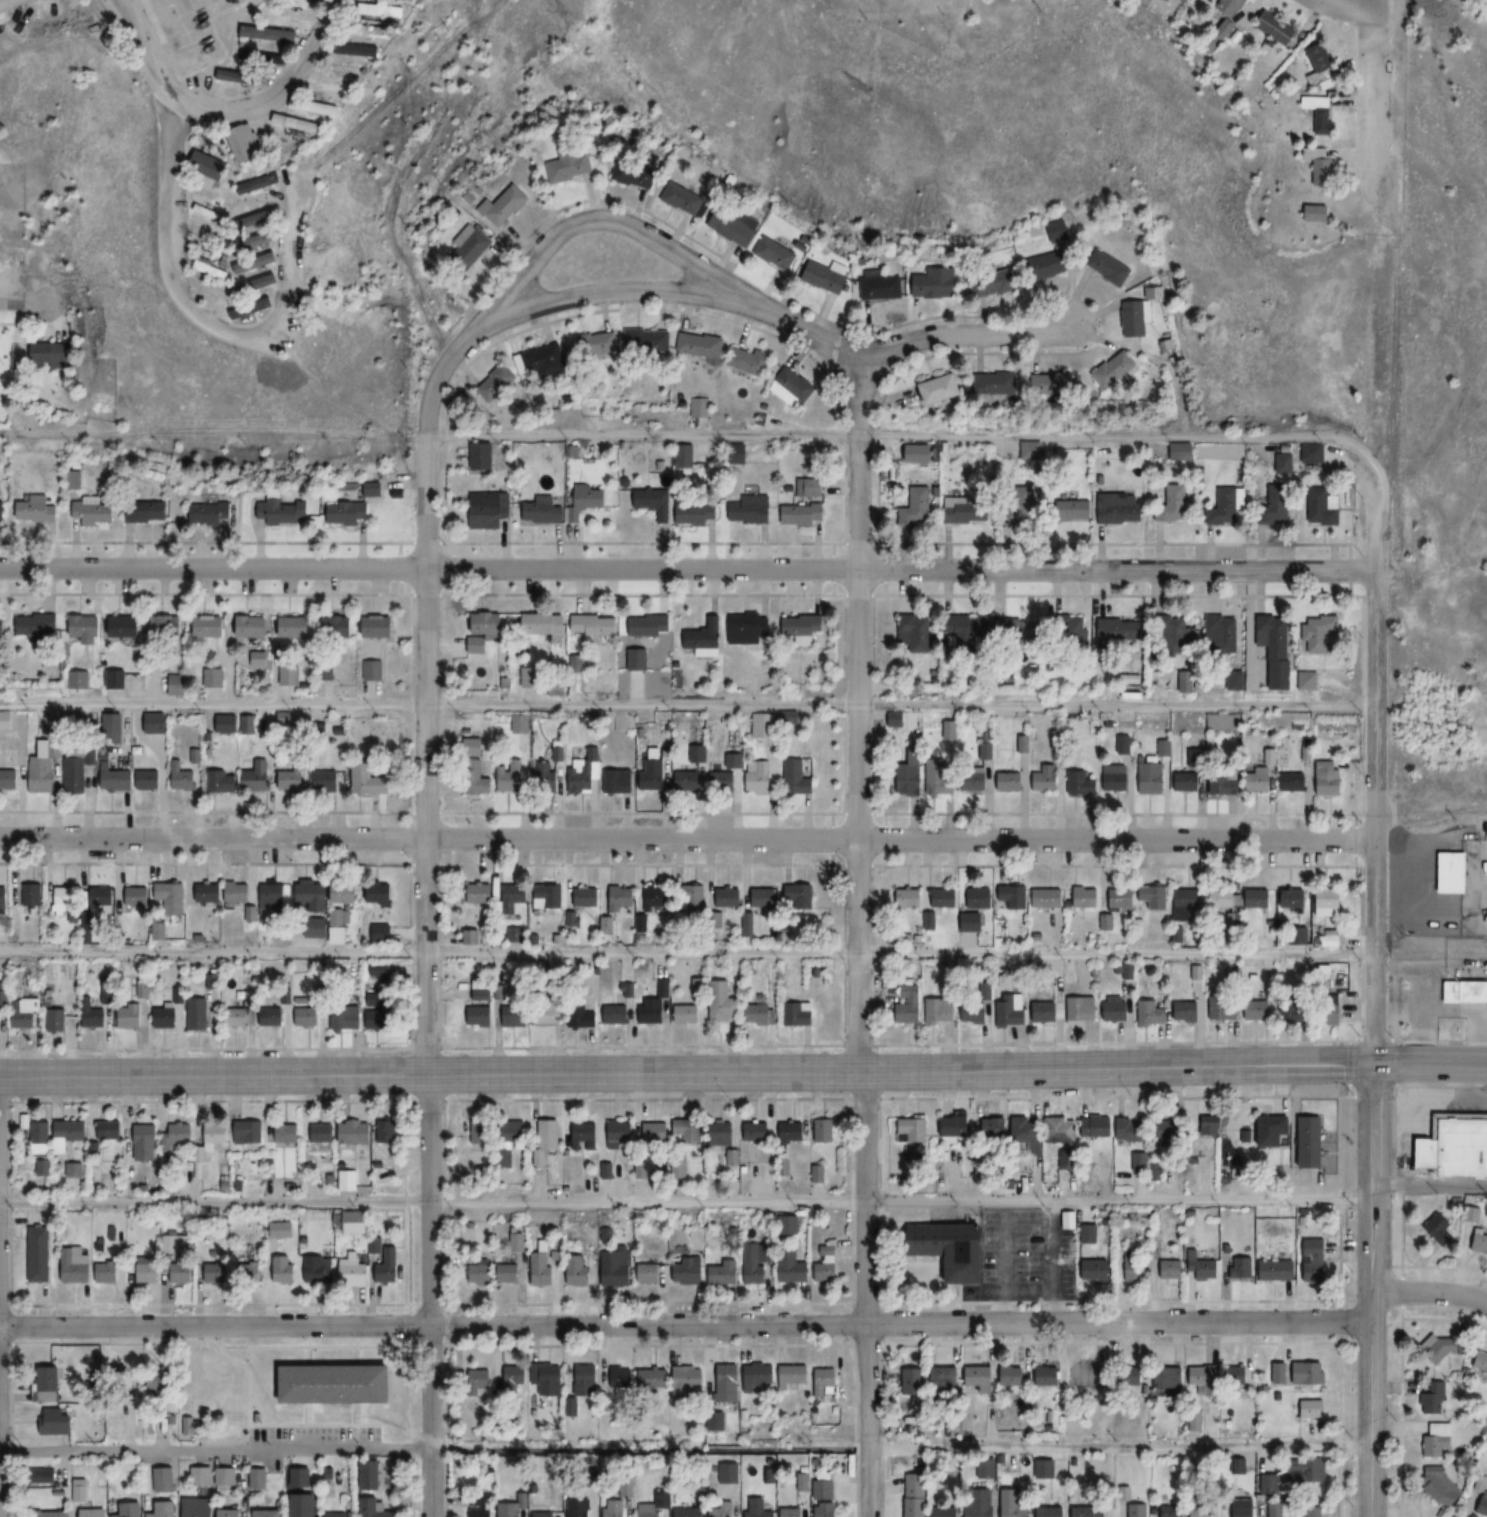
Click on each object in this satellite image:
road: (1376, 6)
road: (1353, 8)
building: (387, 10)
building: (1225, 23)
building: (1277, 28)
building: (272, 34)
building: (367, 51)
building: (264, 57)
building: (1321, 64)
road: (1374, 107)
road: (229, 108)
building: (319, 108)
building: (1321, 113)
building: (303, 124)
building: (248, 145)
building: (212, 166)
building: (569, 168)
building: (1326, 172)
building: (261, 184)
building: (683, 201)
building: (506, 205)
building: (212, 213)
building: (1319, 213)
road: (599, 219)
building: (733, 226)
building: (1058, 232)
building: (471, 246)
building: (776, 253)
building: (1046, 265)
building: (1111, 269)
building: (826, 277)
building: (934, 283)
building: (992, 283)
building: (881, 286)
road: (646, 290)
road: (15, 301)
road: (202, 313)
building: (1135, 318)
road: (963, 333)
building: (648, 341)
building: (597, 345)
building: (701, 345)
building: (50, 355)
building: (750, 361)
building: (550, 362)
building: (1117, 370)
building: (498, 383)
building: (999, 384)
building: (1054, 384)
building: (794, 387)
building: (943, 389)
building: (698, 408)
road: (18, 435)
road: (953, 437)
building: (1033, 451)
building: (1183, 452)
building: (738, 453)
building: (919, 453)
building: (1314, 453)
building: (685, 456)
building: (481, 457)
building: (1285, 463)
building: (1, 501)
building: (586, 501)
building: (653, 502)
building: (1172, 504)
building: (807, 505)
building: (1229, 505)
building: (1277, 506)
building: (749, 508)
building: (1046, 508)
building: (1328, 509)
building: (35, 510)
building: (146, 510)
building: (279, 510)
building: (489, 510)
building: (1120, 510)
building: (547, 511)
building: (697, 511)
building: (914, 511)
building: (968, 511)
building: (91, 512)
building: (211, 512)
building: (347, 513)
road: (212, 567)
road: (899, 568)
building: (2, 625)
building: (37, 625)
building: (211, 626)
building: (338, 626)
building: (545, 626)
building: (649, 626)
building: (126, 627)
building: (167, 627)
building: (252, 627)
building: (295, 627)
building: (380, 627)
building: (85, 628)
building: (595, 628)
building: (748, 628)
building: (803, 628)
building: (485, 630)
building: (1019, 630)
building: (968, 631)
building: (916, 632)
building: (1071, 632)
building: (1120, 633)
building: (1174, 633)
building: (1323, 633)
building: (1224, 635)
building: (706, 637)
building: (1279, 648)
building: (638, 660)
building: (374, 670)
building: (289, 675)
building: (79, 679)
building: (116, 679)
building: (214, 679)
building: (532, 681)
building: (1312, 681)
building: (176, 685)
building: (560, 689)
road: (687, 705)
building: (283, 718)
building: (896, 720)
building: (5, 721)
building: (154, 723)
building: (519, 723)
building: (226, 724)
building: (246, 725)
building: (949, 730)
building: (1055, 740)
building: (1022, 744)
building: (1125, 744)
building: (987, 747)
building: (1197, 757)
building: (44, 767)
building: (474, 768)
building: (584, 770)
building: (75, 772)
building: (544, 775)
building: (653, 775)
building: (257, 776)
building: (182, 777)
building: (290, 777)
building: (509, 777)
building: (760, 777)
building: (1150, 777)
building: (798, 778)
building: (1117, 778)
building: (940, 779)
building: (1044, 779)
building: (1328, 779)
building: (9, 780)
building: (117, 780)
building: (148, 780)
building: (1258, 780)
building: (325, 781)
building: (368, 781)
building: (911, 781)
building: (978, 781)
building: (222, 782)
building: (618, 782)
building: (687, 782)
building: (1010, 782)
building: (1188, 782)
building: (1225, 782)
building: (1293, 782)
building: (724, 783)
building: (1082, 783)
road: (427, 812)
road: (1376, 816)
road: (212, 839)
road: (899, 840)
building: (1448, 874)
building: (479, 892)
building: (208, 893)
building: (345, 893)
building: (239, 894)
building: (32, 895)
building: (381, 895)
building: (273, 896)
building: (313, 896)
building: (512, 896)
building: (101, 897)
building: (137, 897)
building: (547, 897)
building: (585, 897)
building: (800, 897)
building: (1154, 897)
building: (172, 898)
building: (656, 898)
building: (693, 898)
building: (727, 898)
building: (763, 898)
building: (908, 898)
building: (944, 898)
building: (979, 898)
building: (1012, 898)
building: (1047, 898)
building: (1085, 898)
building: (3, 899)
building: (620, 899)
building: (1120, 899)
building: (1258, 899)
building: (64, 900)
building: (1224, 900)
building: (1297, 901)
building: (1186, 904)
building: (1332, 904)
building: (974, 923)
building: (381, 933)
building: (471, 937)
road: (855, 938)
road: (424, 939)
road: (686, 954)
building: (379, 973)
building: (1464, 993)
building: (481, 995)
building: (722, 1002)
building: (654, 1007)
building: (909, 1008)
building: (1222, 1008)
building: (1011, 1009)
building: (1081, 1009)
building: (1258, 1010)
building: (1297, 1010)
building: (379, 1011)
building: (940, 1011)
building: (1116, 1011)
building: (1187, 1011)
building: (1046, 1012)
building: (618, 1013)
building: (975, 1013)
building: (686, 1014)
building: (762, 1014)
building: (799, 1014)
building: (1151, 1014)
building: (27, 1015)
building: (93, 1015)
building: (547, 1015)
building: (199, 1016)
building: (481, 1016)
building: (515, 1016)
building: (130, 1017)
building: (241, 1017)
building: (272, 1017)
building: (306, 1017)
building: (165, 1018)
building: (345, 1018)
building: (582, 1018)
building: (0, 1019)
building: (56, 1020)
road: (1429, 1064)
road: (898, 1071)
road: (212, 1074)
building: (997, 1126)
building: (1101, 1126)
building: (955, 1127)
building: (1210, 1127)
building: (913, 1128)
building: (112, 1129)
building: (825, 1129)
building: (1028, 1129)
building: (1062, 1129)
building: (1135, 1129)
building: (388, 1130)
building: (688, 1130)
building: (792, 1130)
building: (1273, 1130)
building: (356, 1131)
building: (479, 1131)
building: (655, 1131)
building: (757, 1131)
building: (250, 1132)
building: (323, 1132)
building: (1174, 1132)
building: (70, 1133)
building: (181, 1133)
building: (288, 1133)
building: (722, 1133)
building: (619, 1134)
building: (216, 1135)
building: (584, 1136)
building: (39, 1137)
building: (547, 1139)
building: (511, 1140)
building: (1313, 1141)
building: (146, 1142)
building: (1457, 1147)
building: (1069, 1159)
building: (1140, 1161)
building: (75, 1169)
building: (350, 1180)
road: (1429, 1186)
road: (685, 1201)
building: (356, 1222)
building: (1440, 1229)
building: (1090, 1234)
building: (1480, 1241)
building: (516, 1242)
building: (174, 1244)
building: (375, 1245)
building: (954, 1249)
building: (38, 1254)
parking lot: (1029, 1254)
building: (827, 1263)
building: (1317, 1264)
building: (75, 1265)
building: (388, 1266)
building: (1241, 1267)
building: (617, 1268)
building: (1204, 1268)
building: (146, 1269)
building: (539, 1269)
building: (576, 1269)
building: (1171, 1269)
building: (282, 1270)
building: (317, 1270)
building: (794, 1270)
building: (1097, 1270)
building: (1137, 1270)
building: (1277, 1270)
building: (689, 1271)
building: (106, 1272)
building: (180, 1272)
building: (215, 1272)
building: (507, 1272)
building: (724, 1272)
building: (249, 1273)
building: (353, 1273)
building: (485, 1273)
building: (647, 1273)
building: (755, 1274)
road: (1372, 1290)
road: (1429, 1292)
road: (900, 1323)
road: (214, 1325)
building: (1441, 1348)
building: (1481, 1362)
building: (796, 1374)
building: (1308, 1374)
building: (759, 1375)
building: (949, 1375)
building: (1015, 1375)
building: (1050, 1375)
building: (1085, 1375)
building: (1237, 1375)
building: (513, 1376)
building: (622, 1376)
building: (983, 1377)
building: (1171, 1377)
building: (547, 1378)
building: (654, 1378)
building: (585, 1379)
building: (689, 1379)
building: (827, 1379)
building: (915, 1379)
building: (1204, 1379)
building: (162, 1380)
building: (729, 1382)
building: (47, 1383)
building: (339, 1383)
building: (1435, 1398)
building: (1312, 1408)
building: (57, 1421)
building: (192, 1424)
building: (1439, 1439)
road: (685, 1449)
building: (1310, 1471)
building: (731, 1472)
building: (371, 1474)
building: (200, 1476)
building: (225, 1477)
building: (257, 1478)
building: (164, 1479)
building: (1269, 1483)
building: (1444, 1486)
building: (825, 1489)
building: (80, 1490)
building: (916, 1495)
building: (1013, 1504)
building: (480, 1506)
building: (653, 1506)
building: (1483, 1506)
building: (197, 1507)
building: (757, 1507)
building: (983, 1507)
building: (374, 1508)
building: (510, 1508)
building: (581, 1508)
building: (613, 1508)
building: (1244, 1508)
building: (130, 1509)
building: (165, 1509)
building: (722, 1509)
building: (826, 1509)
building: (1137, 1509)
building: (1171, 1510)
building: (1315, 1510)
building: (1053, 1511)
building: (1089, 1511)
building: (1206, 1511)
building: (94, 1512)
building: (229, 1512)
building: (690, 1512)
building: (791, 1512)
building: (945, 1512)
building: (46, 1513)
building: (268, 1513)
building: (542, 1513)
building: (300, 1514)
building: (1274, 1514)
building: (336, 1515)

